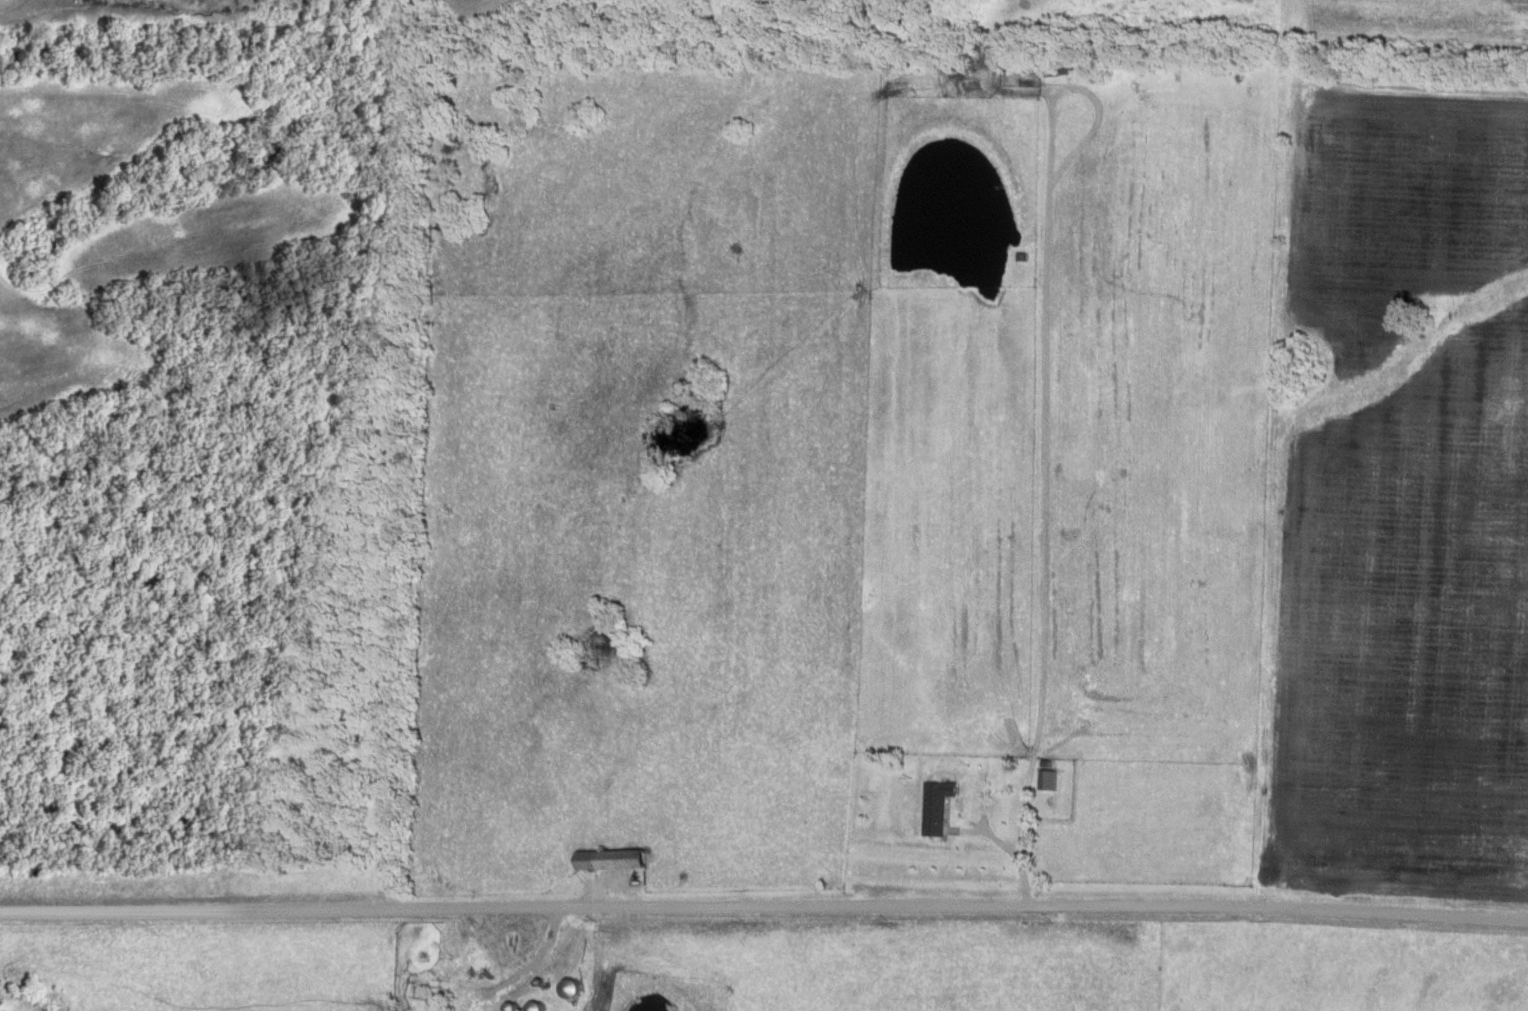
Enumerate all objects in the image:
building: (1043, 780)
building: (932, 807)
building: (617, 860)
road: (764, 903)
building: (460, 961)
building: (581, 987)

